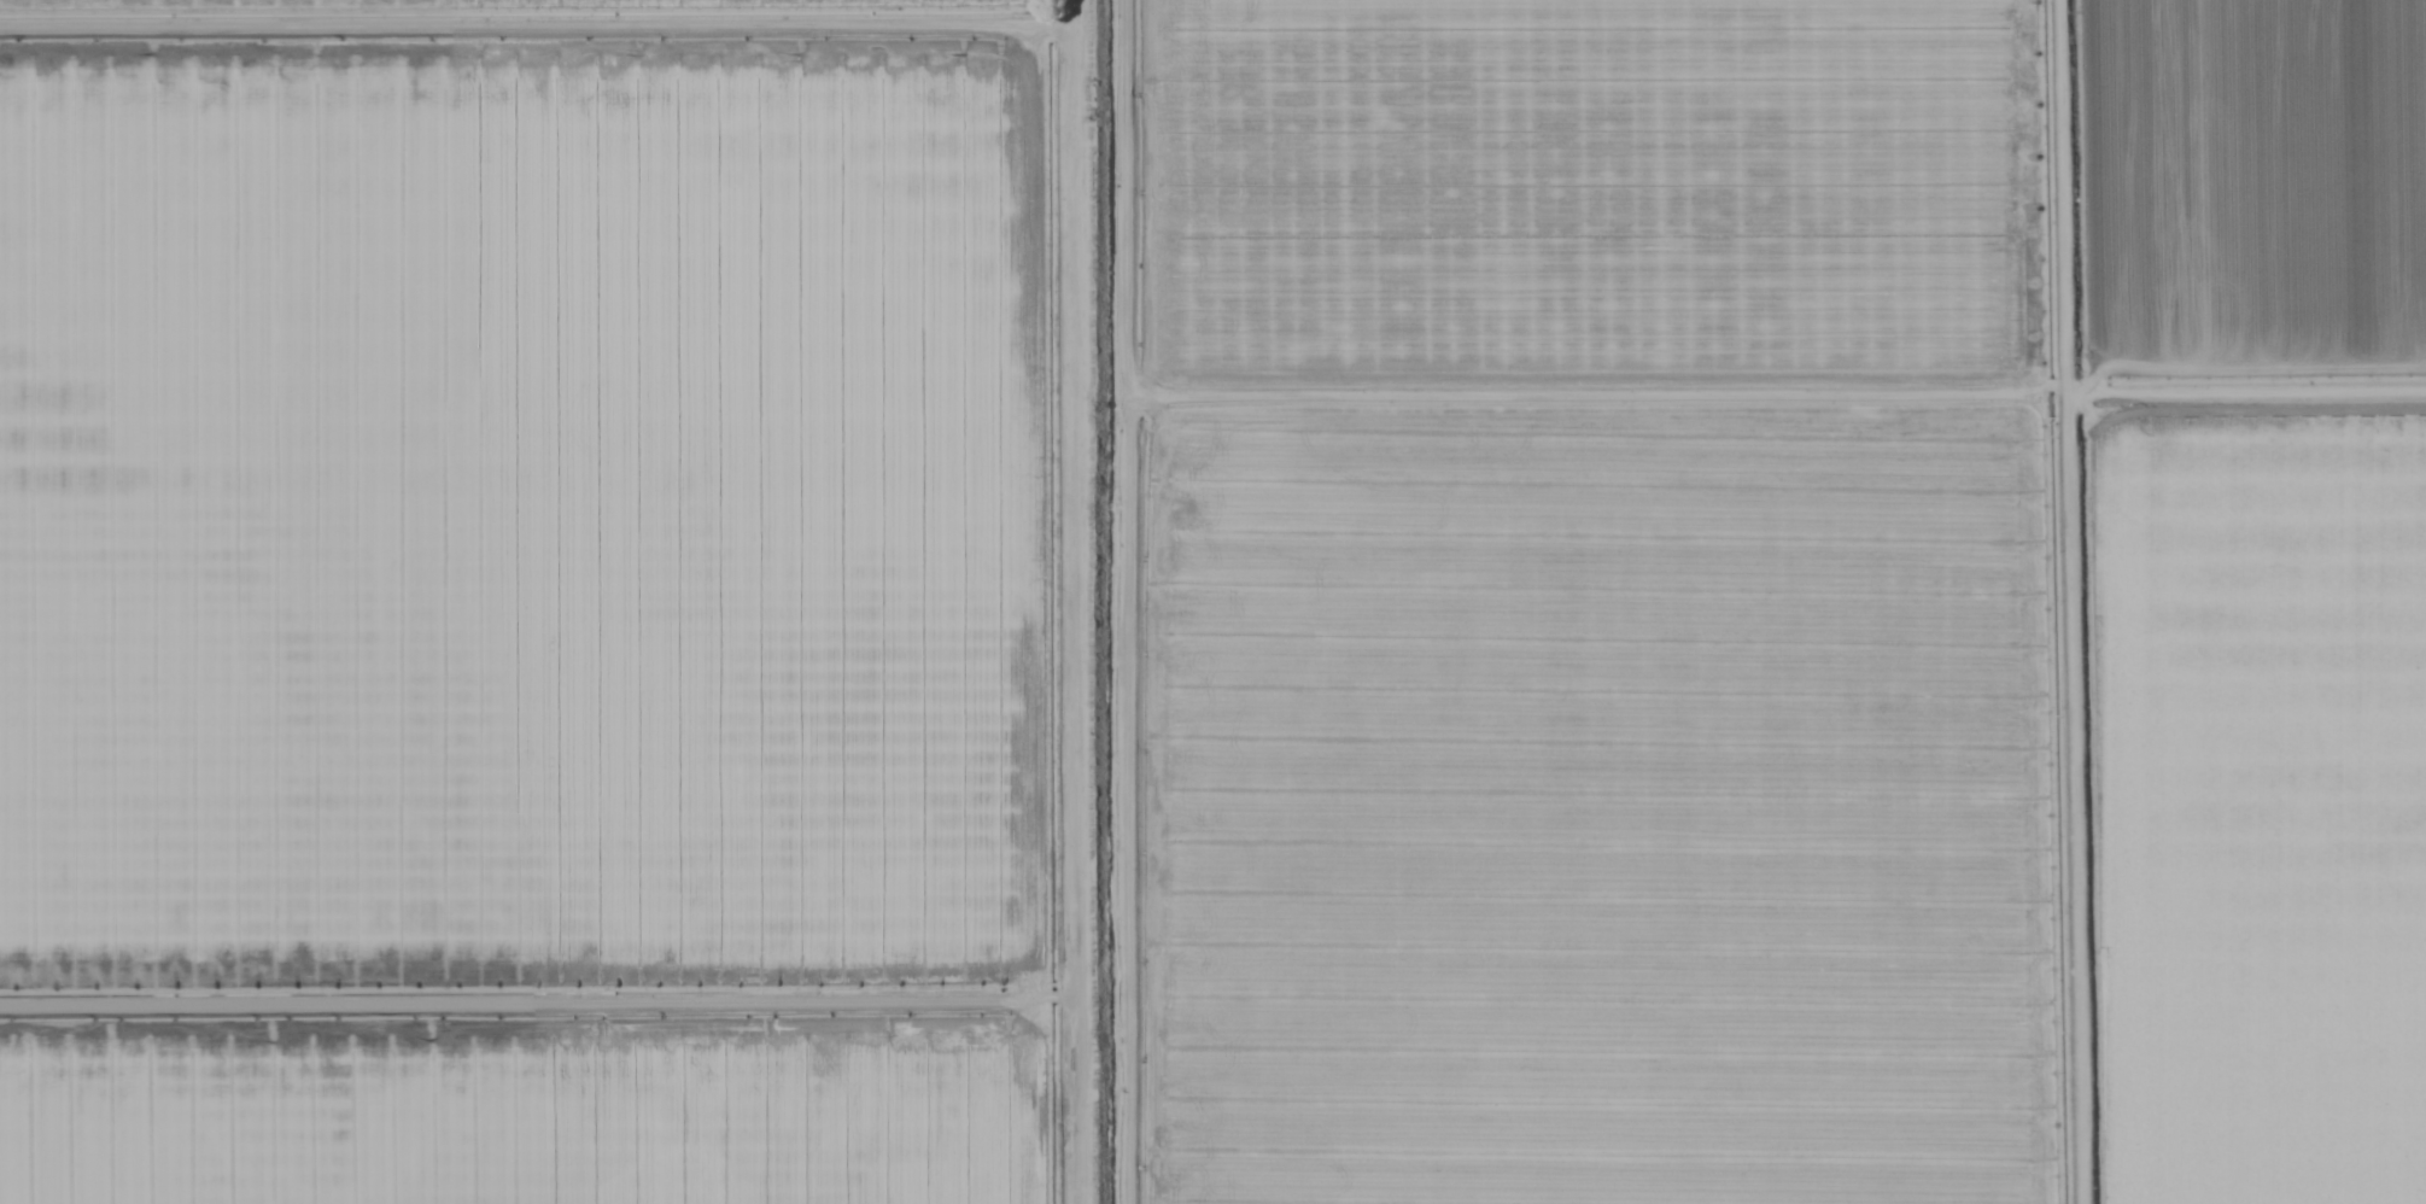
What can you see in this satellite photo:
road: (1082, 601)

